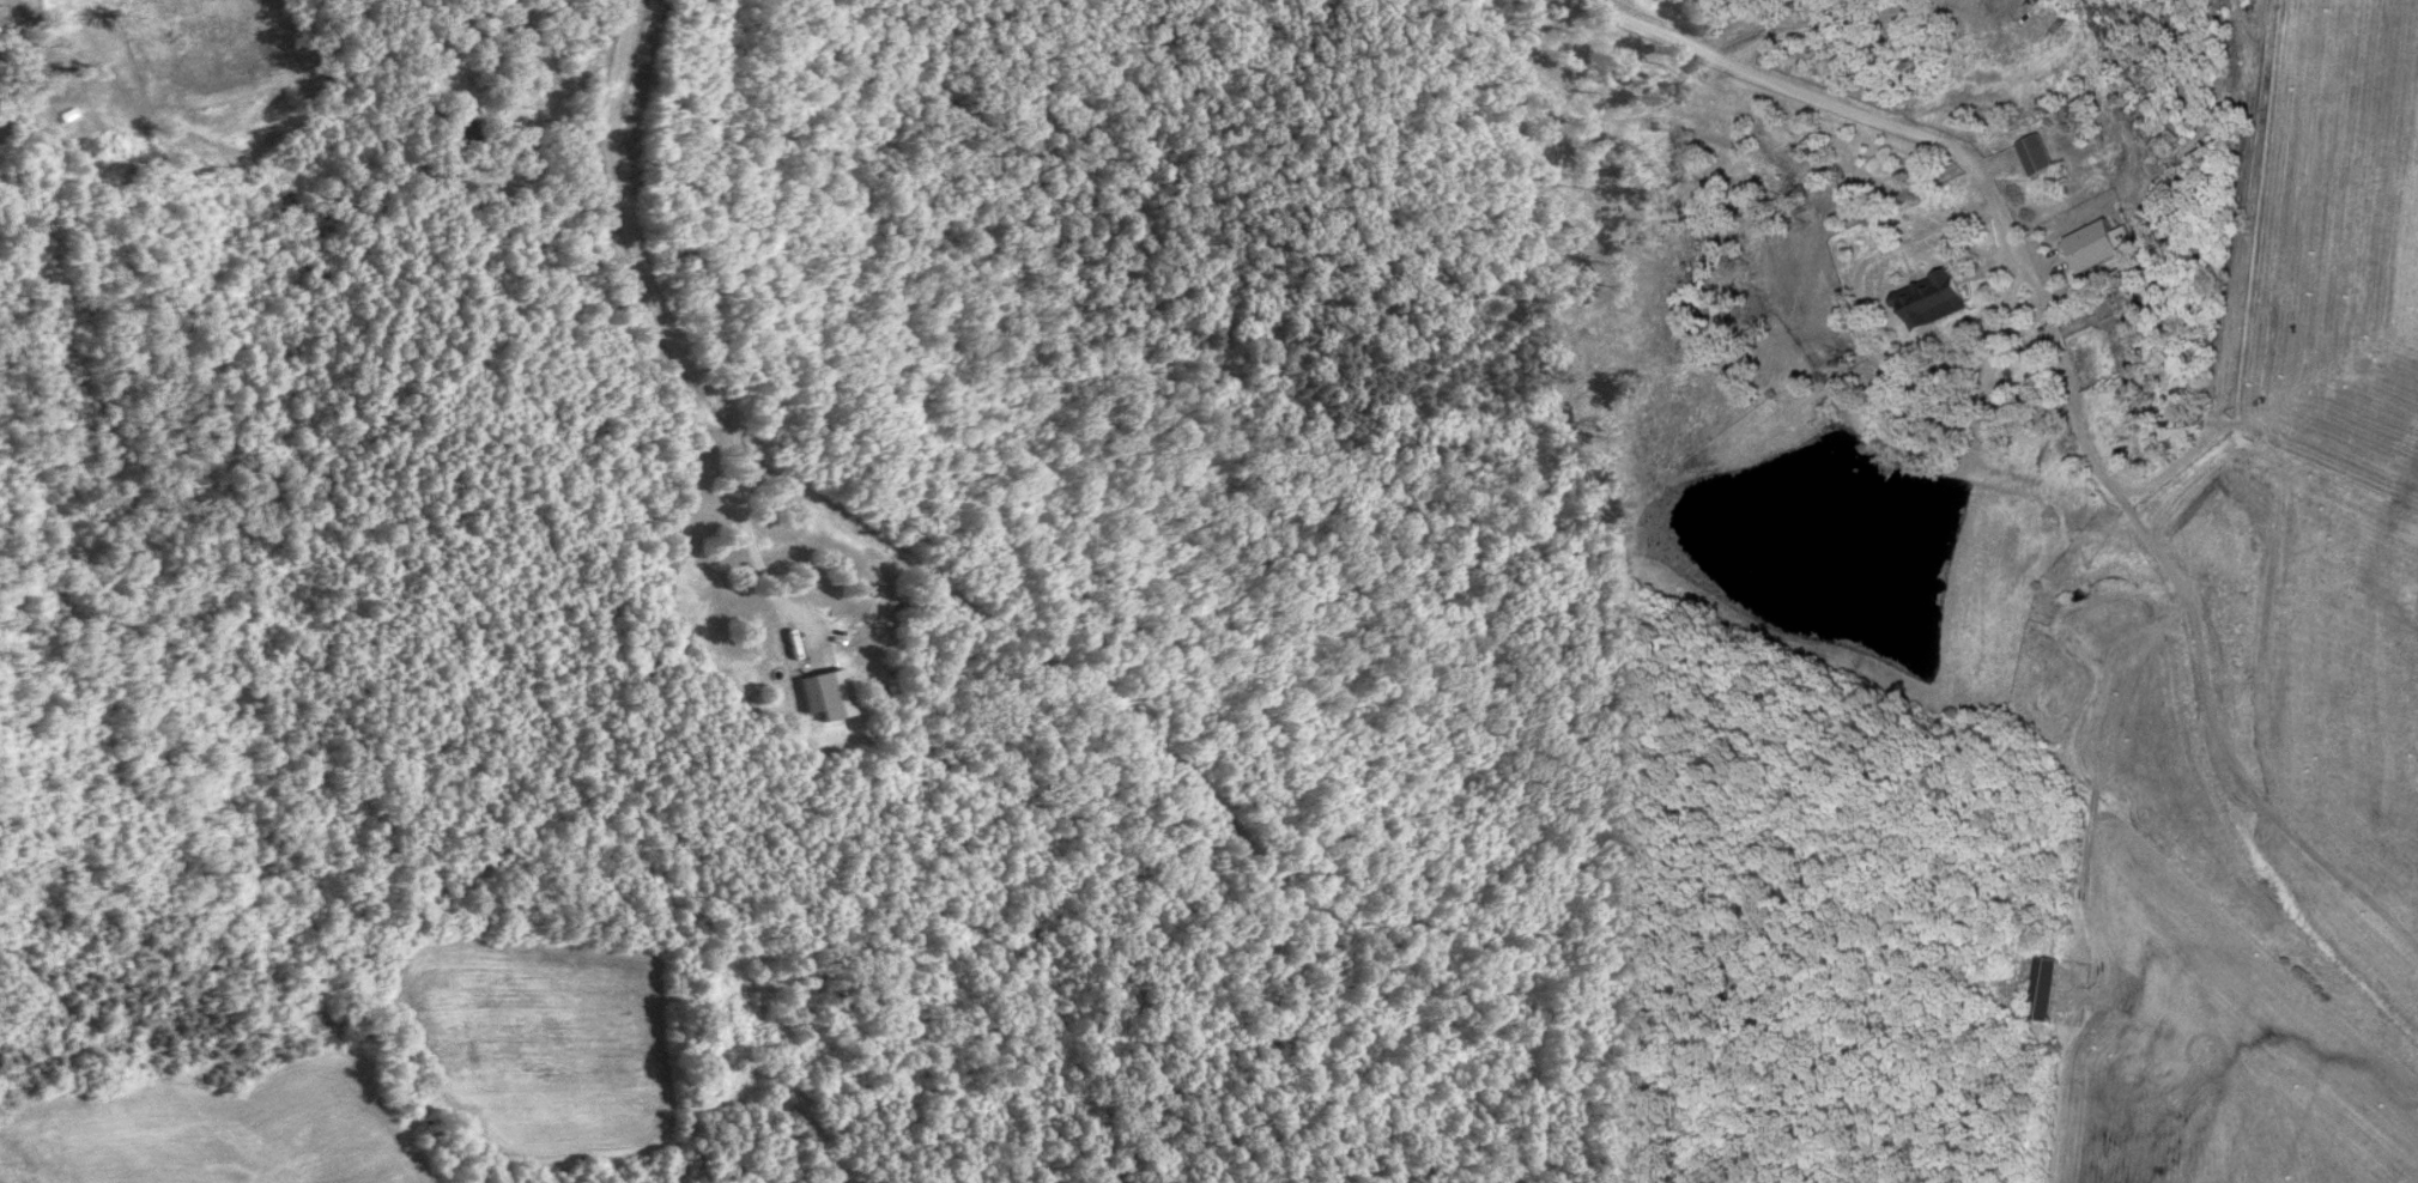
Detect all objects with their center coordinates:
road: (2222, 96)
building: (2046, 156)
road: (1987, 183)
building: (2105, 245)
building: (1944, 299)
road: (660, 326)
road: (1884, 364)
building: (830, 696)

